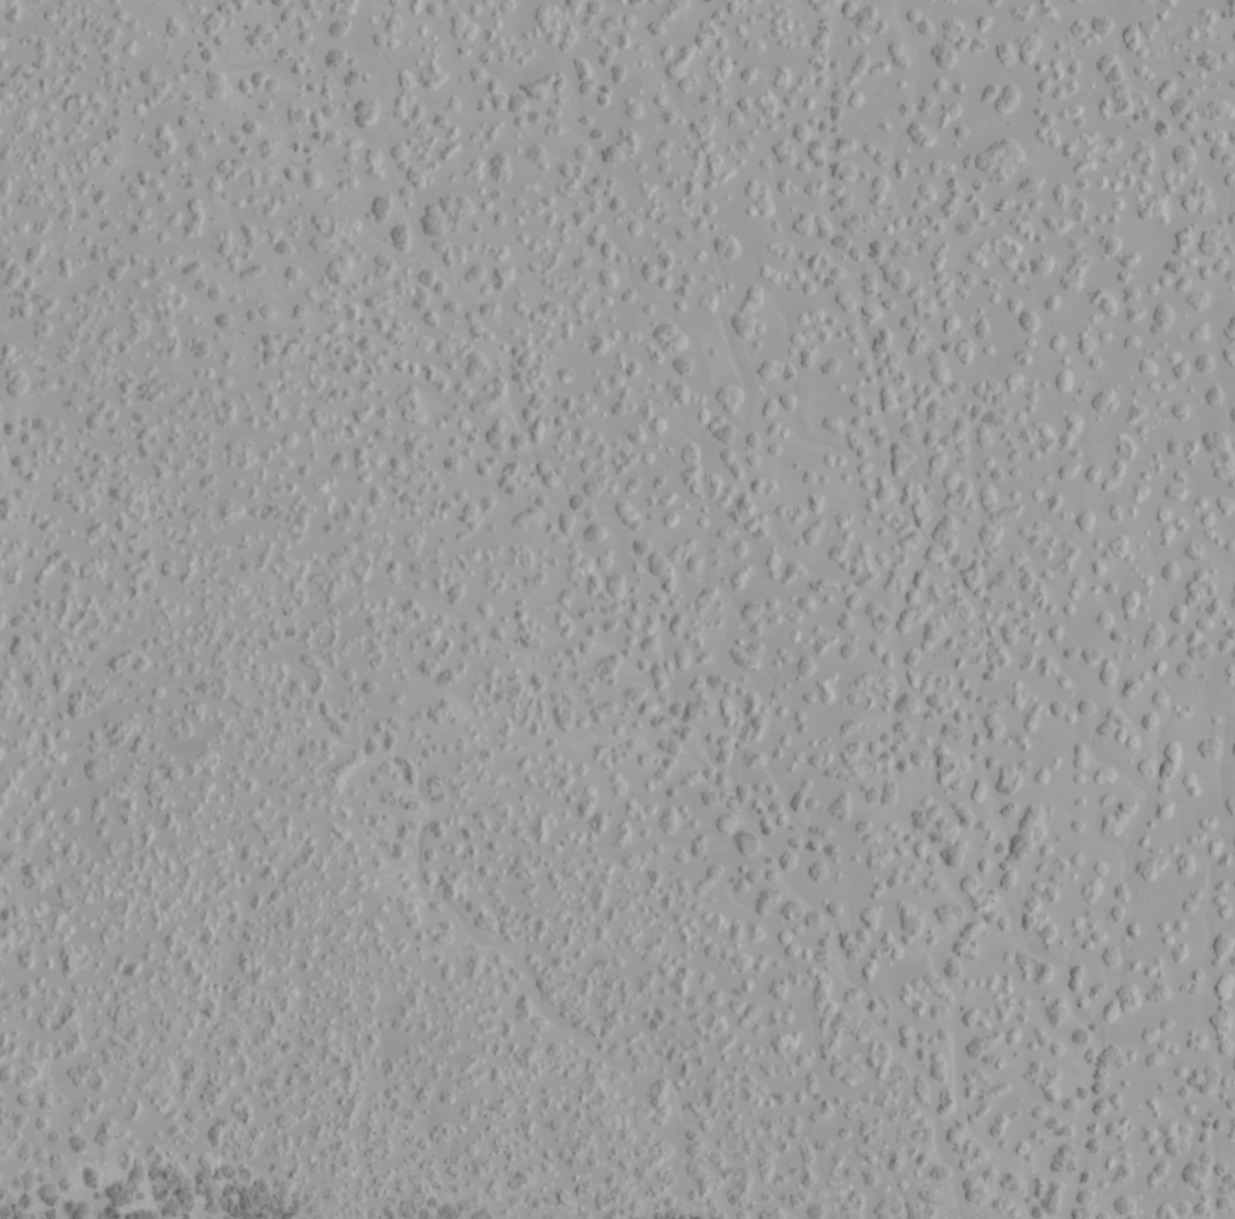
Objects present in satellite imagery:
road: (81, 772)
road: (439, 971)

